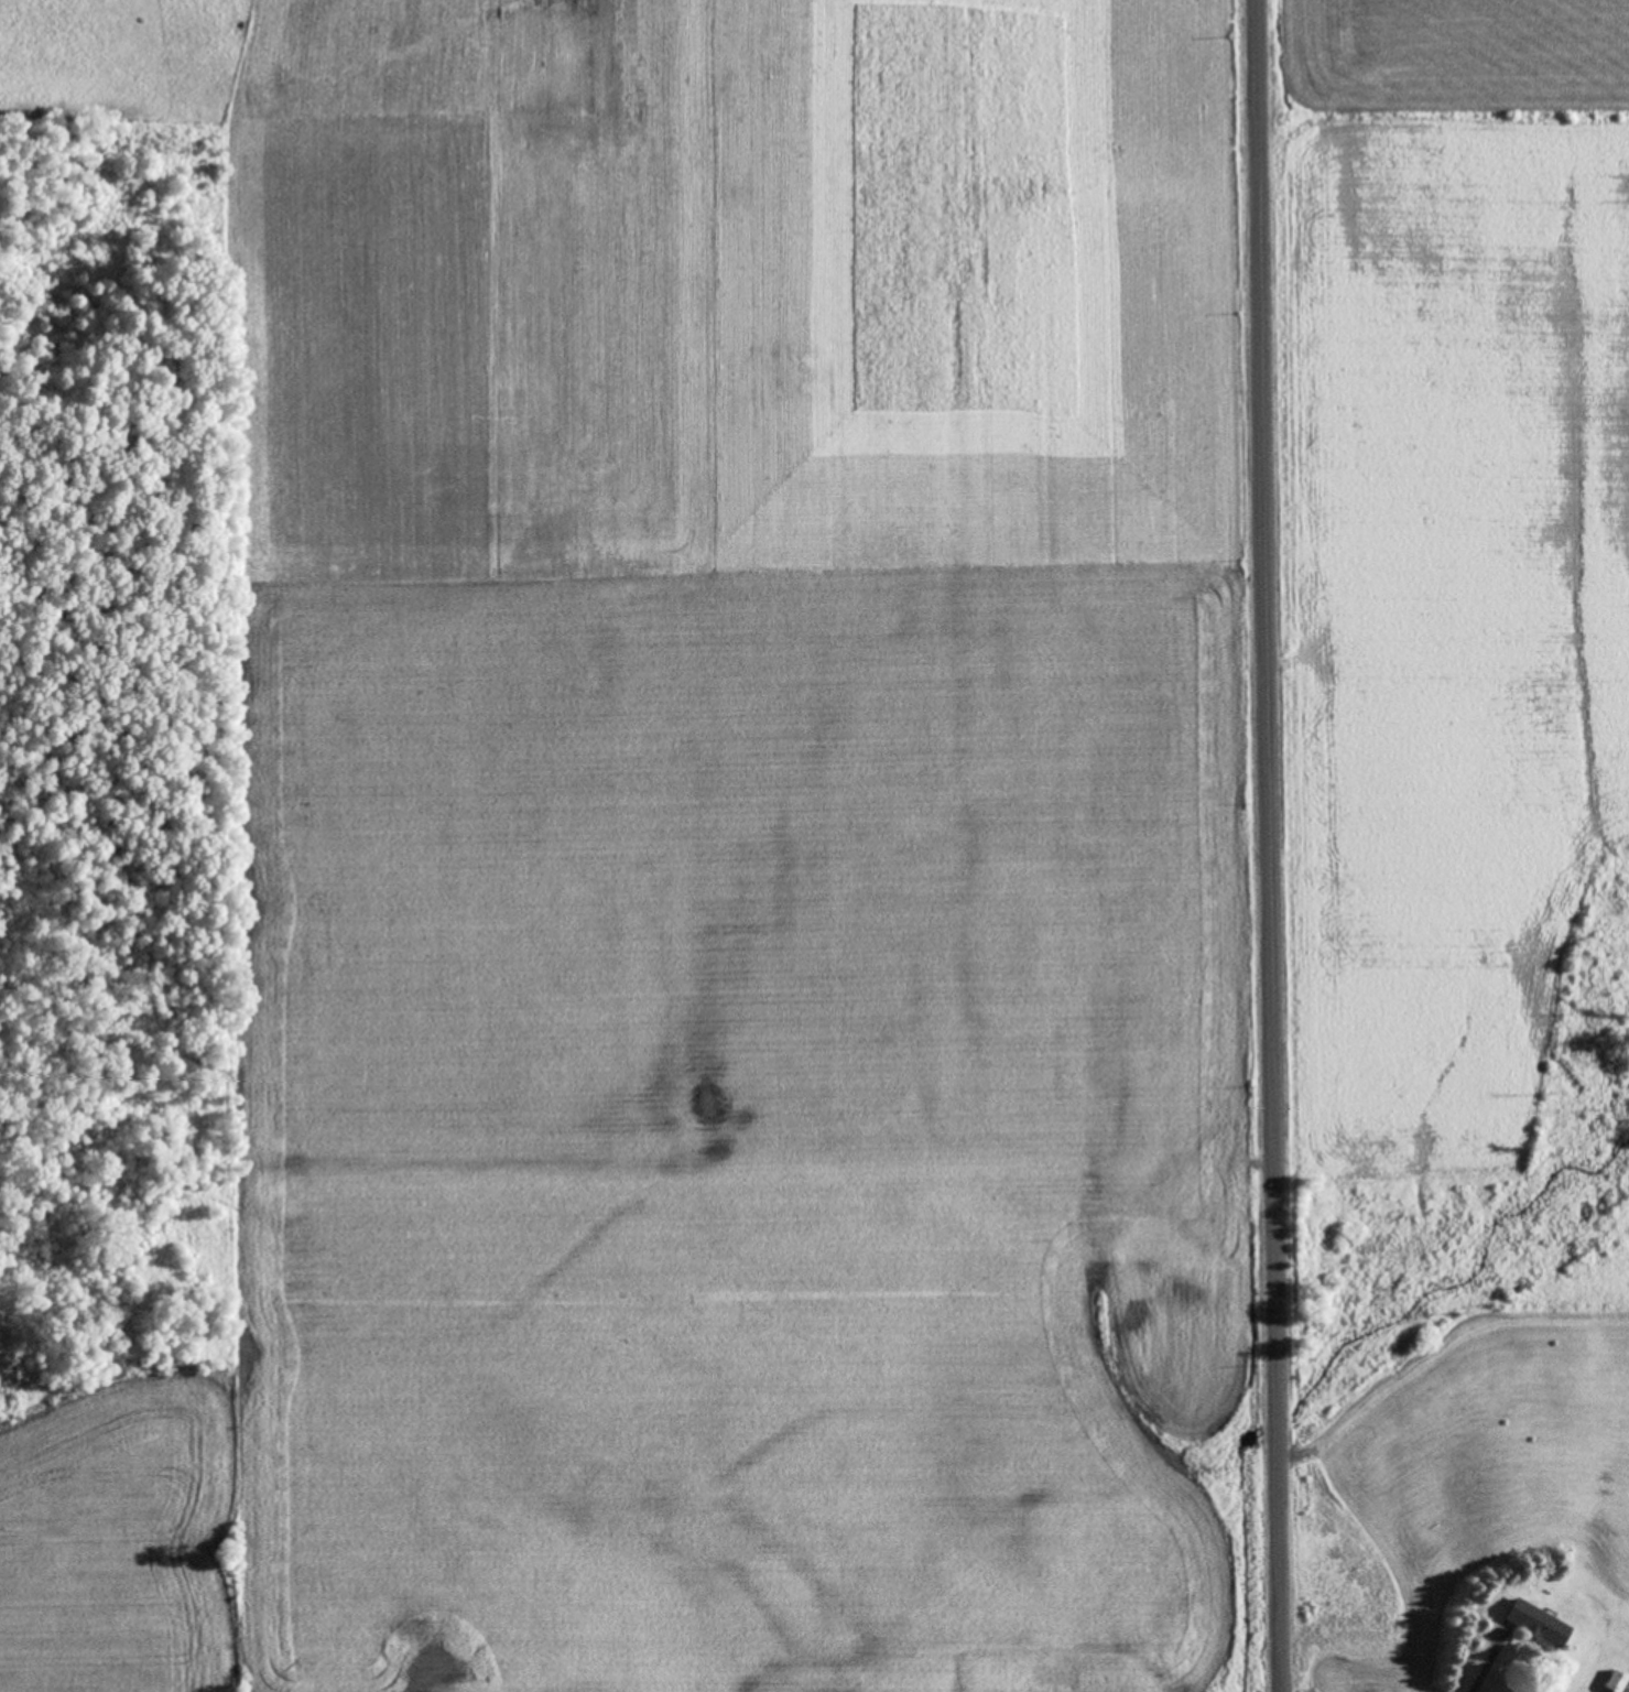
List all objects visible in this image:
road: (1253, 846)
building: (1533, 1626)
building: (1616, 1684)

